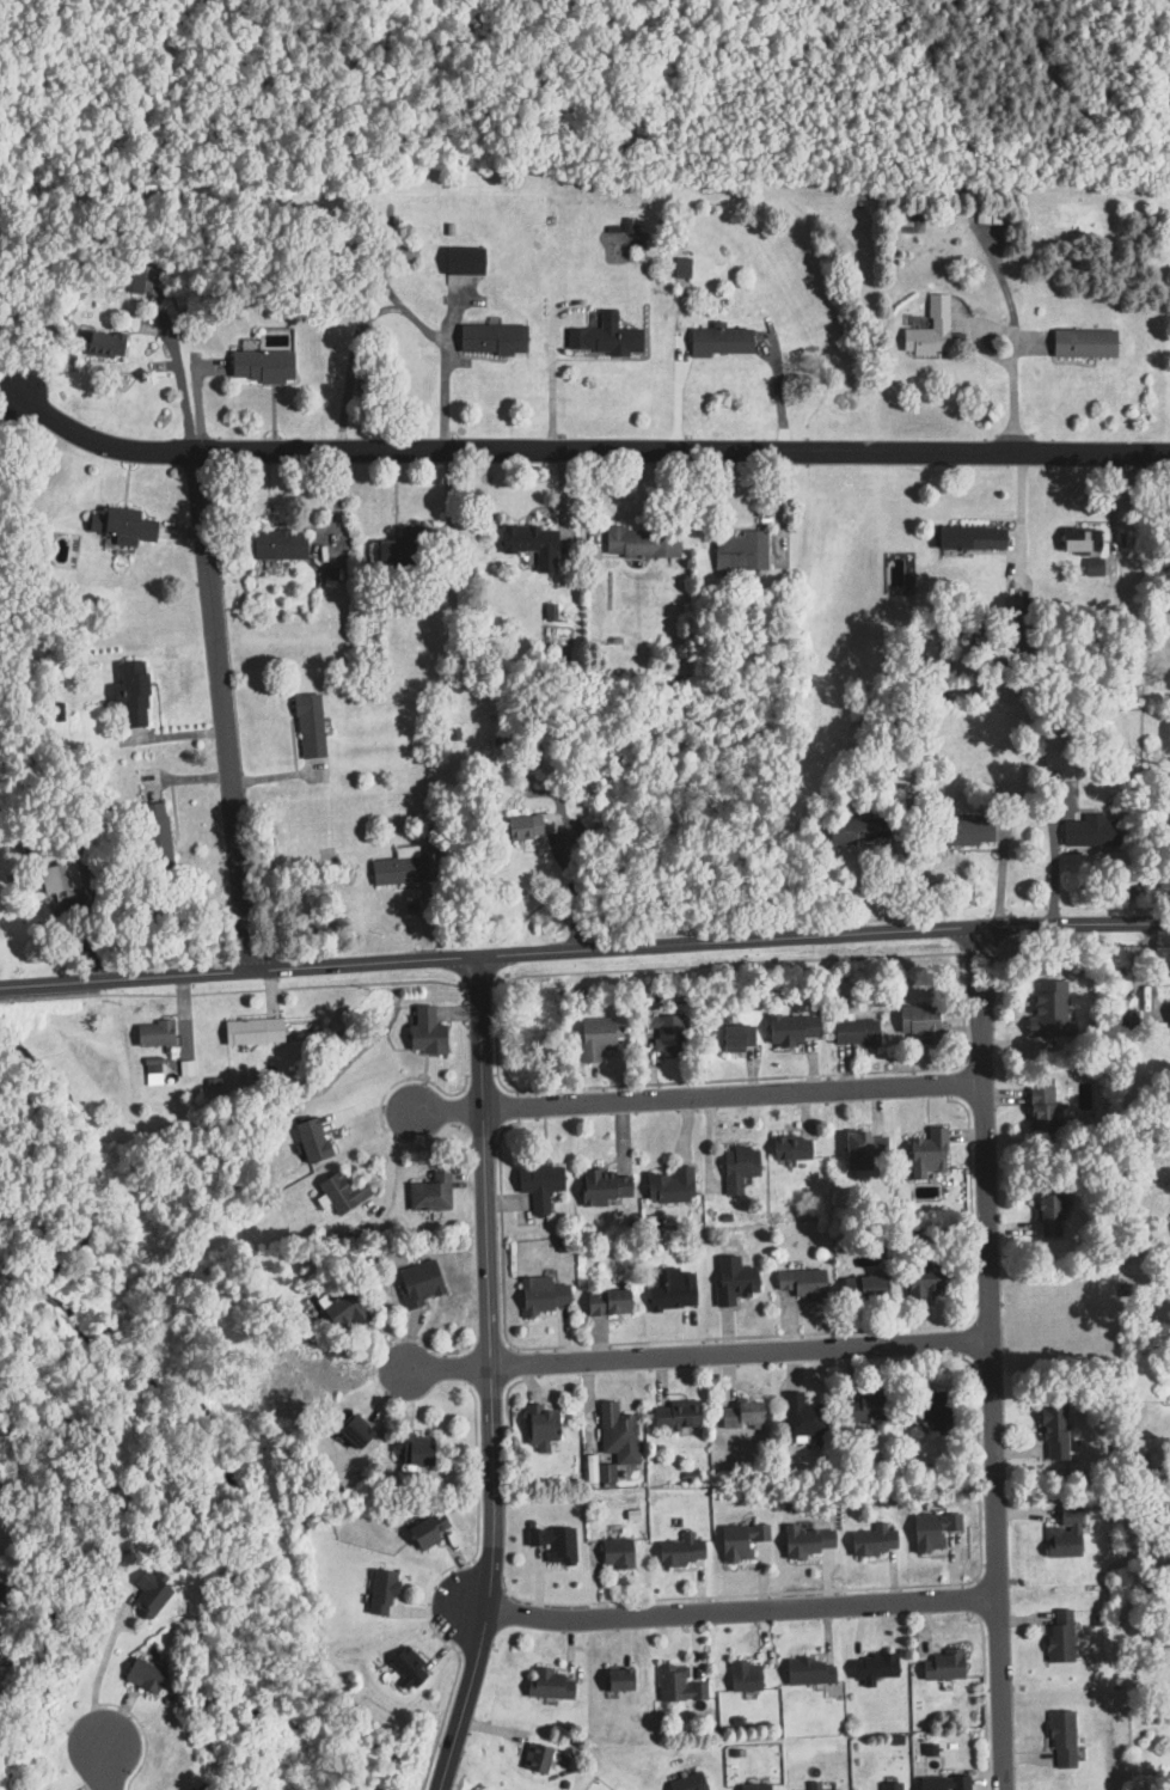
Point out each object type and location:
building: (461, 261)
building: (680, 267)
road: (394, 306)
building: (927, 330)
building: (490, 340)
building: (602, 340)
building: (718, 342)
building: (1082, 343)
building: (102, 346)
road: (1010, 352)
building: (261, 366)
road: (8, 374)
road: (179, 378)
road: (550, 384)
road: (675, 391)
road: (777, 393)
road: (100, 441)
road: (682, 450)
road: (1021, 502)
road: (335, 505)
building: (121, 526)
building: (969, 537)
building: (1079, 539)
building: (639, 540)
building: (529, 543)
building: (276, 544)
building: (398, 548)
building: (739, 551)
building: (331, 575)
building: (550, 611)
building: (131, 694)
road: (223, 709)
building: (307, 725)
building: (588, 823)
building: (1165, 825)
building: (521, 826)
building: (856, 831)
building: (1088, 831)
building: (960, 832)
building: (154, 835)
building: (398, 867)
building: (56, 876)
road: (572, 885)
road: (823, 935)
road: (724, 964)
road: (238, 970)
road: (476, 984)
road: (232, 990)
building: (1169, 1009)
building: (1050, 1010)
building: (918, 1021)
building: (789, 1028)
building: (250, 1031)
building: (424, 1032)
building: (853, 1032)
building: (152, 1033)
building: (664, 1034)
building: (736, 1037)
building: (593, 1038)
road: (494, 1044)
building: (184, 1068)
road: (944, 1069)
building: (152, 1071)
road: (794, 1075)
road: (944, 1083)
road: (733, 1093)
road: (515, 1105)
building: (1040, 1106)
road: (447, 1108)
building: (310, 1138)
building: (789, 1148)
building: (863, 1148)
building: (926, 1151)
building: (736, 1167)
building: (538, 1185)
building: (669, 1185)
building: (602, 1186)
building: (341, 1191)
building: (428, 1193)
building: (1046, 1215)
road: (500, 1224)
building: (1169, 1279)
building: (417, 1283)
building: (731, 1283)
building: (801, 1284)
building: (863, 1288)
building: (923, 1289)
building: (669, 1294)
building: (540, 1295)
building: (606, 1302)
building: (341, 1309)
road: (958, 1327)
road: (854, 1330)
road: (422, 1339)
road: (958, 1340)
road: (468, 1345)
road: (488, 1346)
road: (740, 1351)
road: (990, 1358)
road: (472, 1366)
road: (448, 1367)
road: (491, 1376)
road: (488, 1386)
road: (506, 1386)
road: (507, 1389)
building: (869, 1406)
building: (929, 1407)
building: (674, 1415)
building: (739, 1415)
building: (802, 1416)
building: (538, 1424)
building: (355, 1431)
building: (615, 1434)
building: (1053, 1434)
building: (412, 1449)
building: (605, 1473)
building: (425, 1529)
building: (931, 1529)
building: (1061, 1533)
building: (805, 1540)
building: (872, 1540)
building: (739, 1541)
building: (553, 1544)
building: (680, 1551)
building: (614, 1554)
road: (975, 1578)
road: (430, 1583)
road: (850, 1588)
building: (379, 1593)
building: (147, 1594)
road: (978, 1599)
road: (740, 1612)
building: (1058, 1637)
building: (406, 1666)
building: (941, 1666)
building: (871, 1668)
building: (808, 1672)
road: (98, 1673)
building: (141, 1676)
building: (743, 1678)
building: (617, 1681)
building: (550, 1685)
building: (678, 1685)
road: (982, 1703)
road: (141, 1730)
building: (1061, 1740)
building: (929, 1748)
building: (534, 1759)
road: (100, 1766)
building: (686, 1783)
building: (943, 1783)
building: (890, 1785)
building: (753, 1786)
building: (813, 1786)
building: (186, 1789)
building: (614, 1789)

